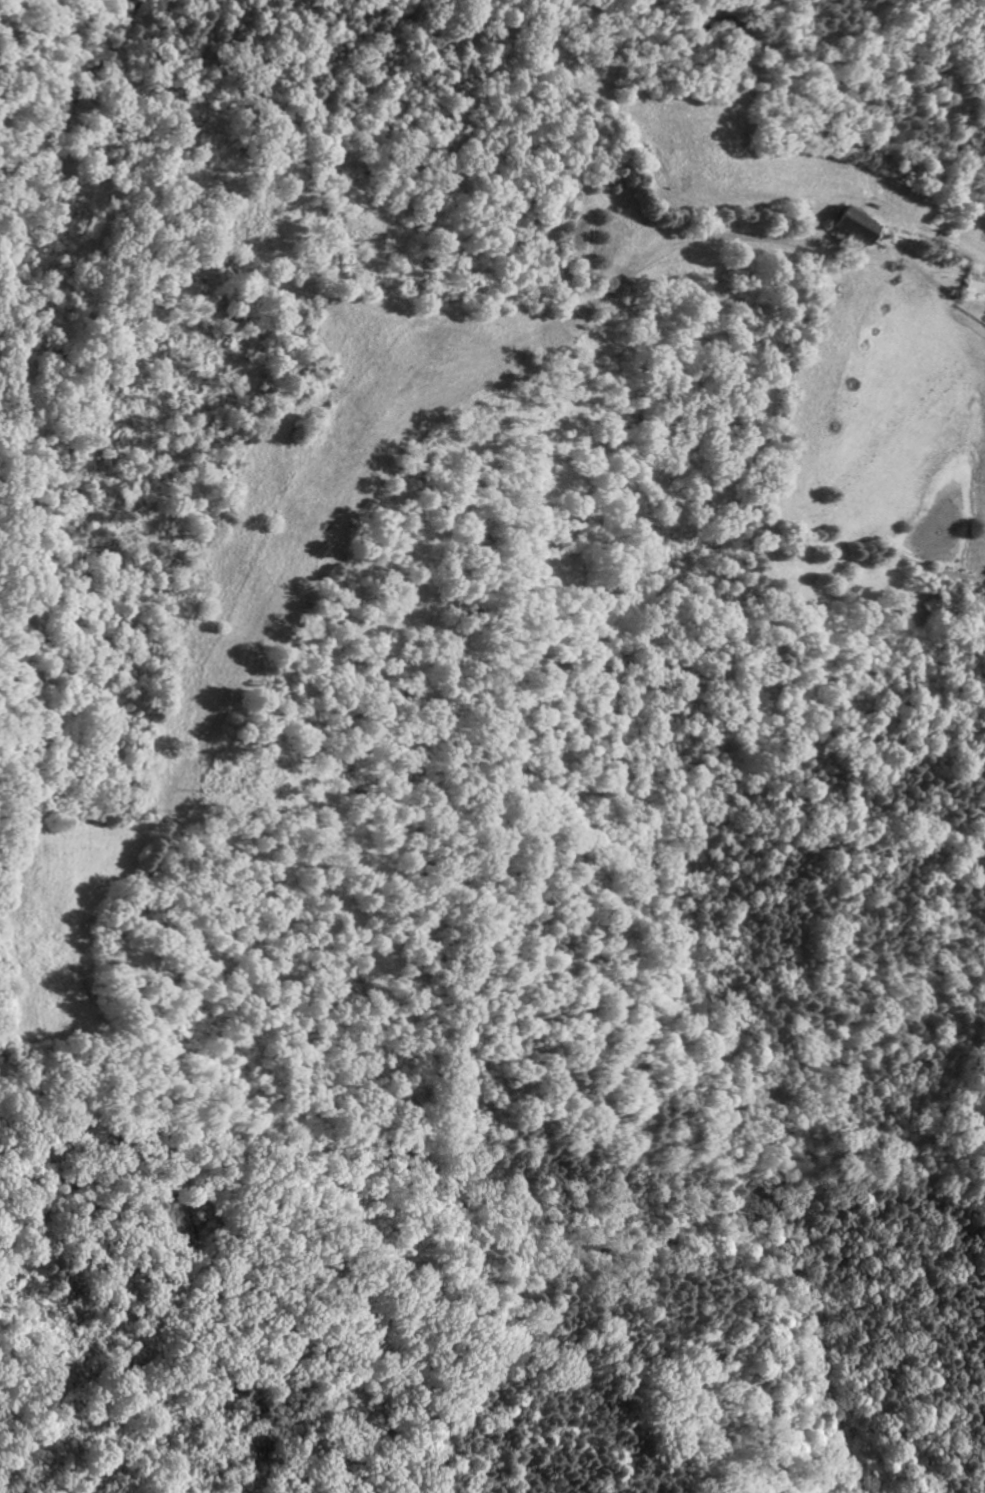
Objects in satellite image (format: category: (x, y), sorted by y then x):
building: (859, 226)

